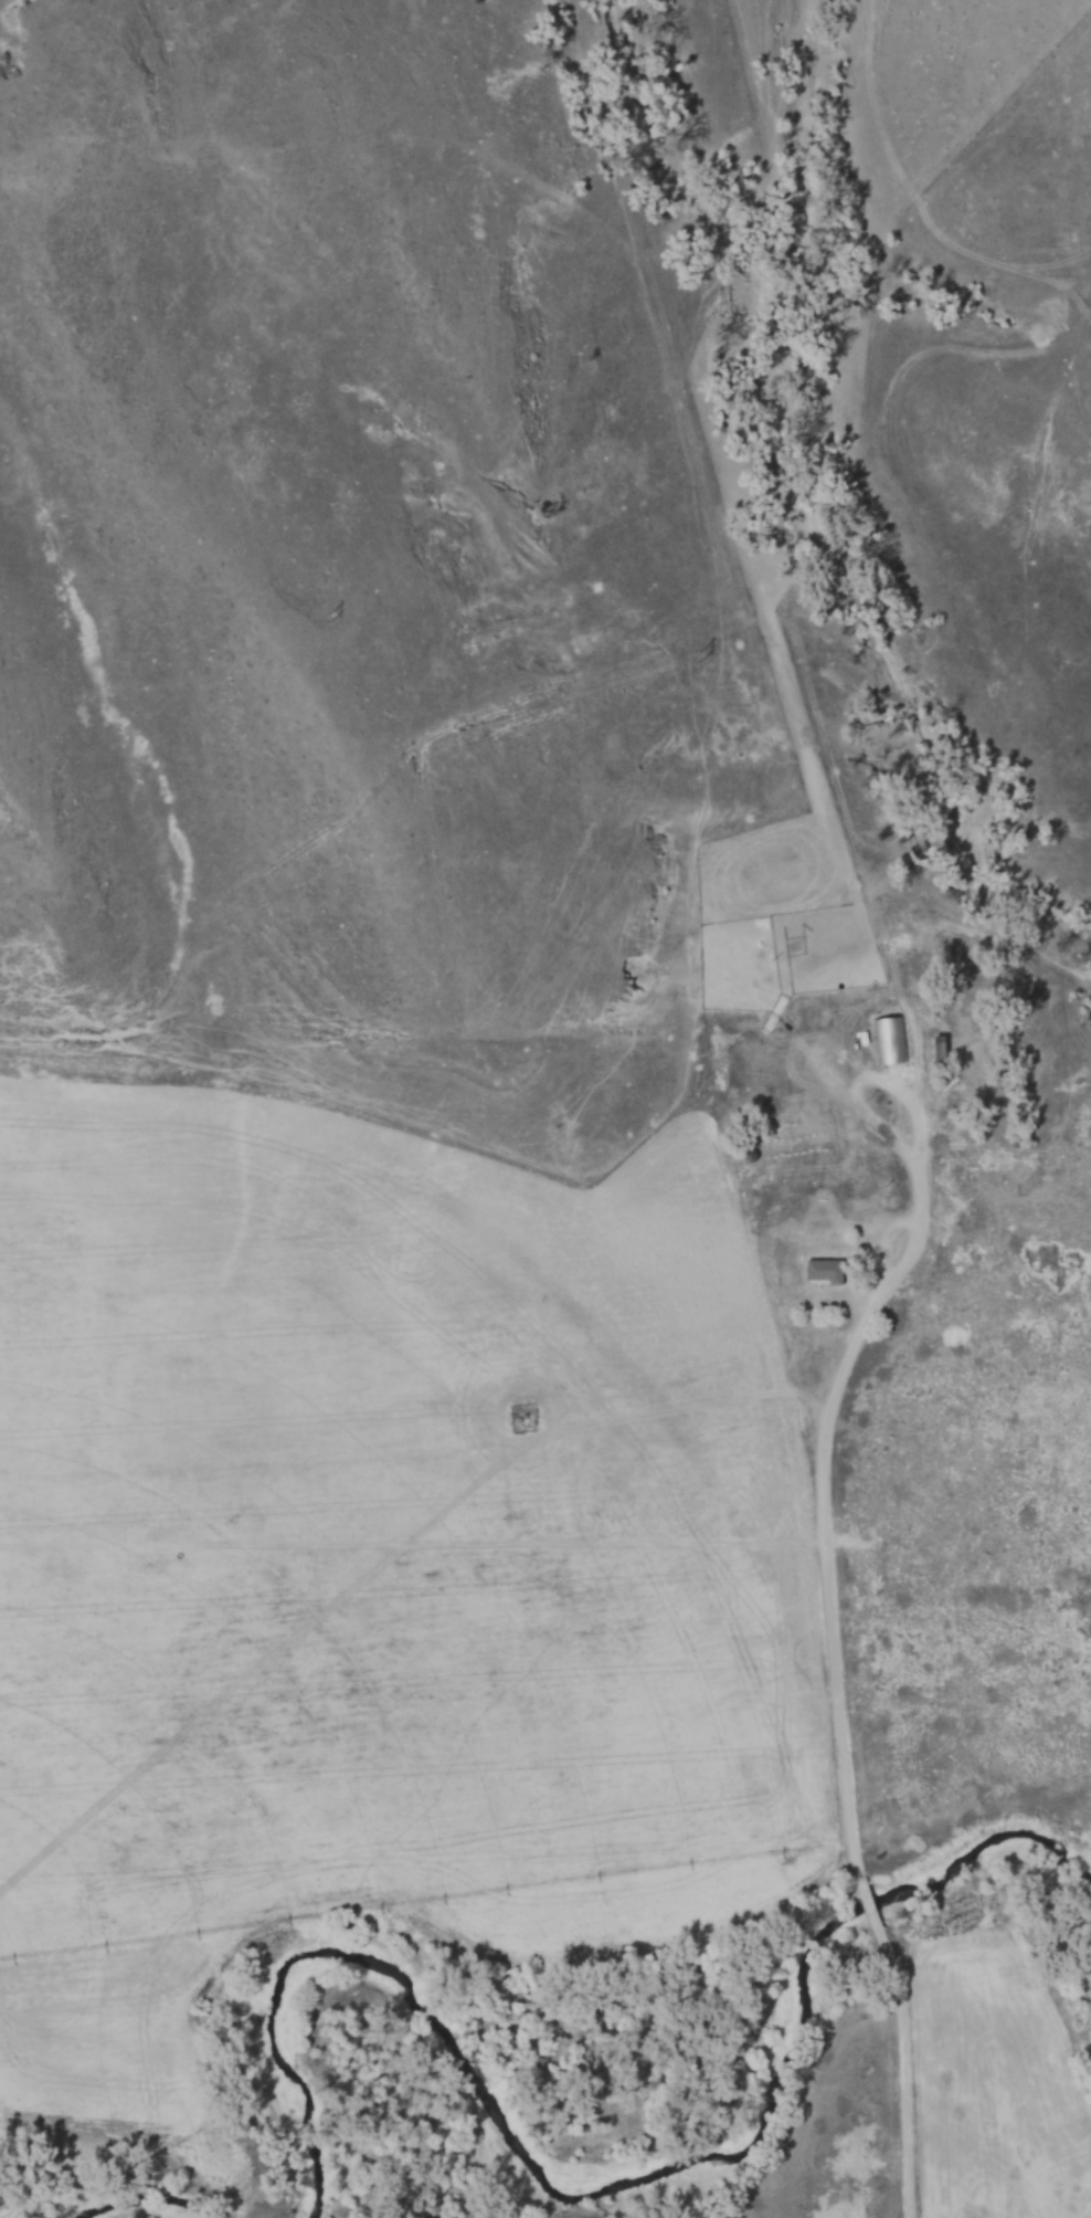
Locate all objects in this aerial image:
building: (891, 1041)
building: (940, 1048)
building: (824, 1271)
road: (824, 1496)
road: (867, 1902)
road: (903, 2067)

